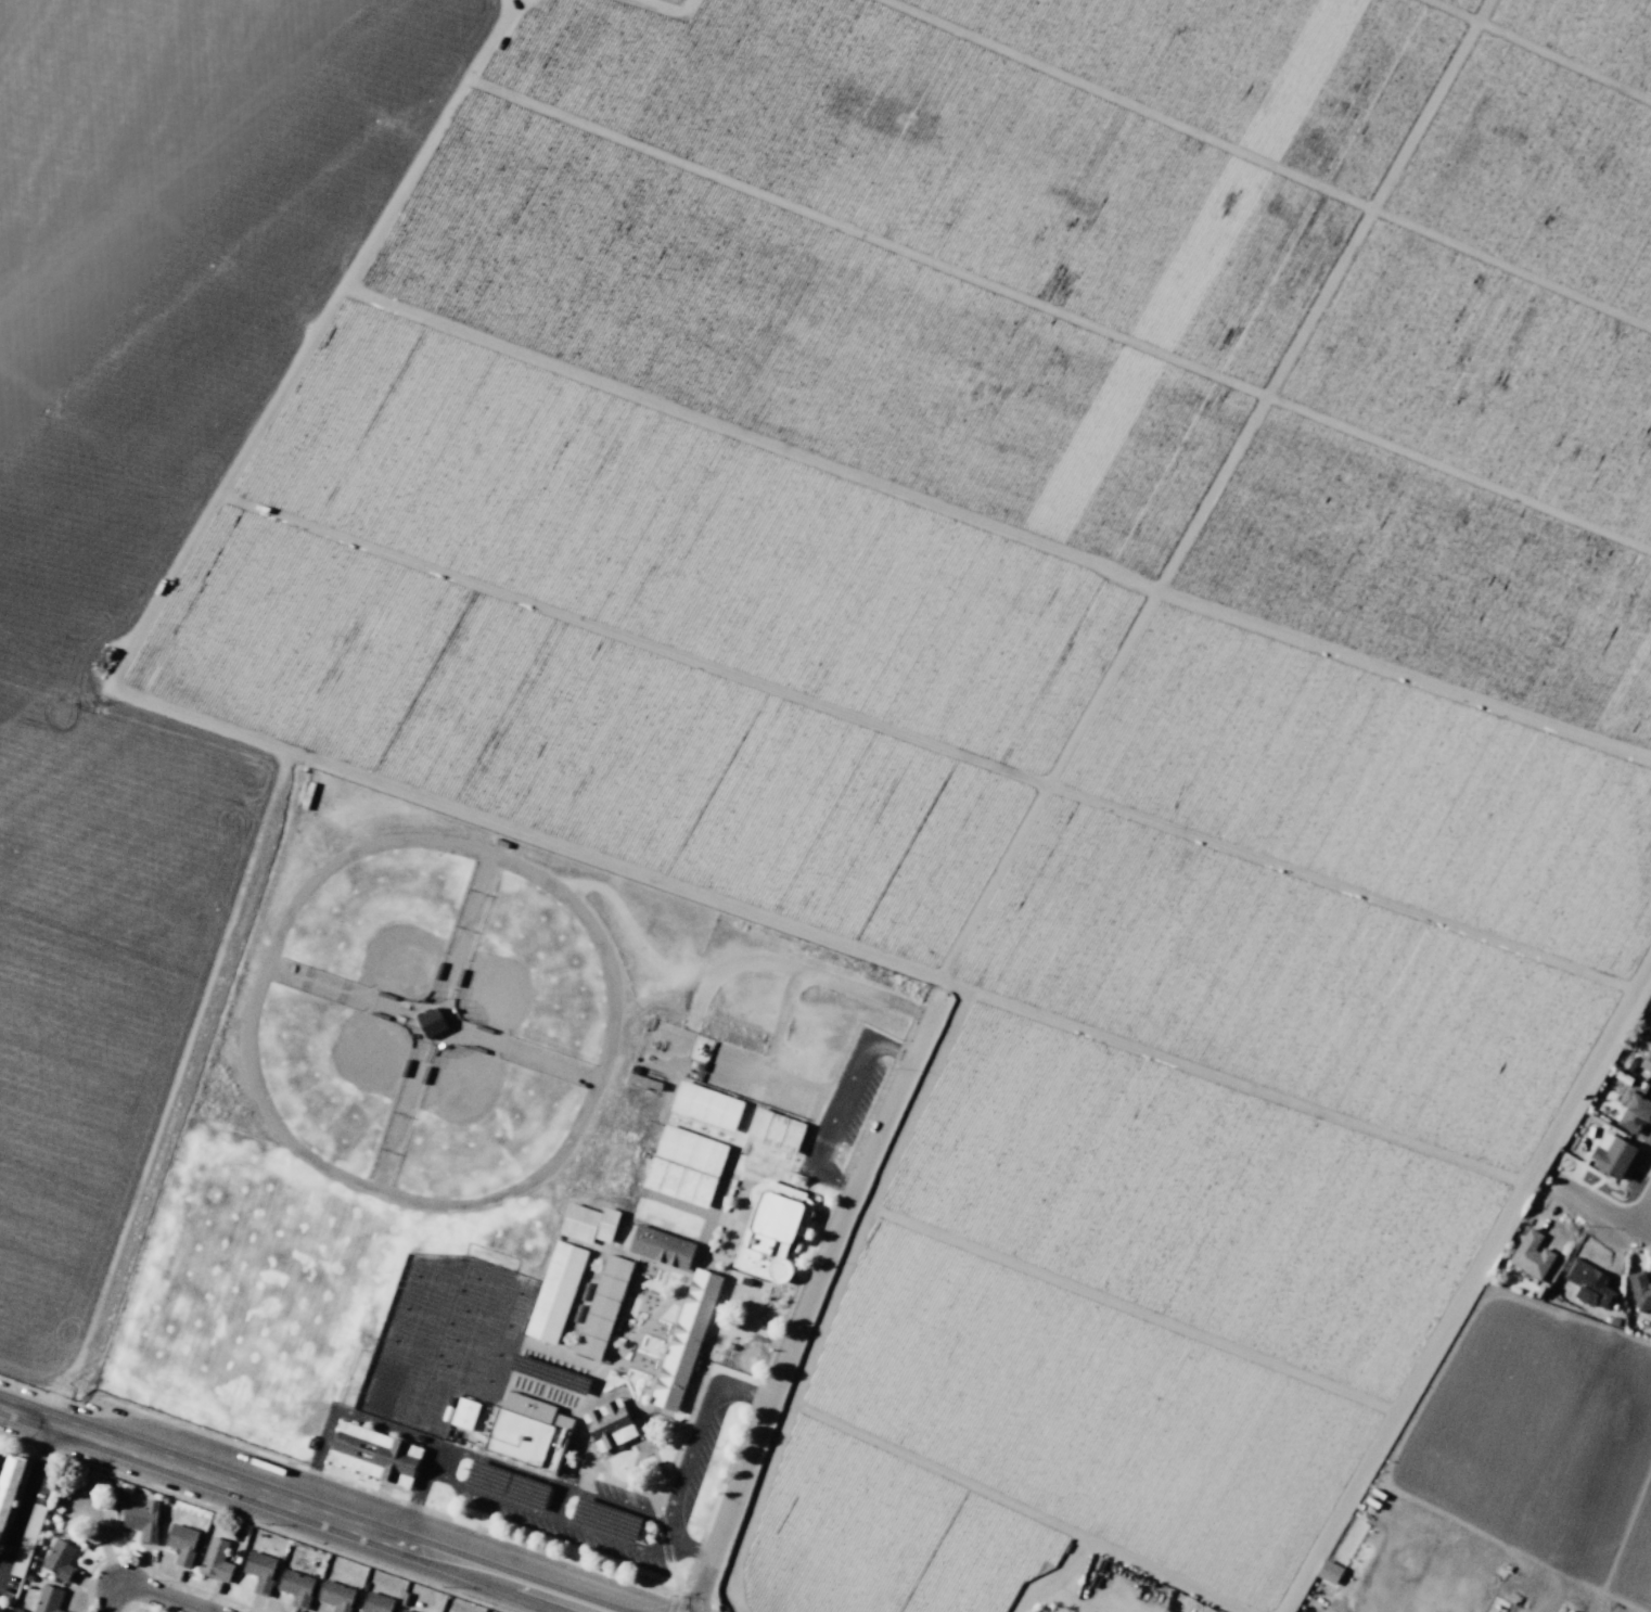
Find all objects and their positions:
crop: (871, 645)
building: (1650, 1008)
building: (1650, 1010)
building: (430, 1021)
building: (1646, 1060)
building: (1628, 1063)
building: (1623, 1077)
building: (1612, 1085)
building: (705, 1105)
road: (837, 1105)
building: (1634, 1111)
building: (775, 1129)
building: (690, 1150)
building: (1611, 1155)
building: (678, 1181)
road: (1598, 1210)
road: (1643, 1217)
building: (579, 1223)
building: (606, 1224)
building: (769, 1229)
building: (661, 1246)
building: (1532, 1254)
building: (1588, 1284)
building: (1640, 1291)
building: (555, 1292)
road: (808, 1298)
building: (601, 1306)
building: (684, 1340)
building: (534, 1410)
building: (463, 1412)
building: (609, 1424)
road: (699, 1428)
building: (525, 1440)
building: (373, 1454)
parking lot: (702, 1456)
building: (8, 1480)
road: (26, 1496)
road: (303, 1507)
road: (413, 1507)
parking lot: (562, 1507)
building: (142, 1519)
road: (664, 1524)
building: (26, 1540)
building: (181, 1543)
road: (684, 1545)
road: (667, 1548)
building: (215, 1560)
building: (59, 1561)
building: (259, 1571)
building: (1329, 1572)
building: (295, 1587)
road: (150, 1591)
building: (336, 1595)
building: (48, 1599)
building: (375, 1603)
building: (0, 1608)
building: (405, 1610)

